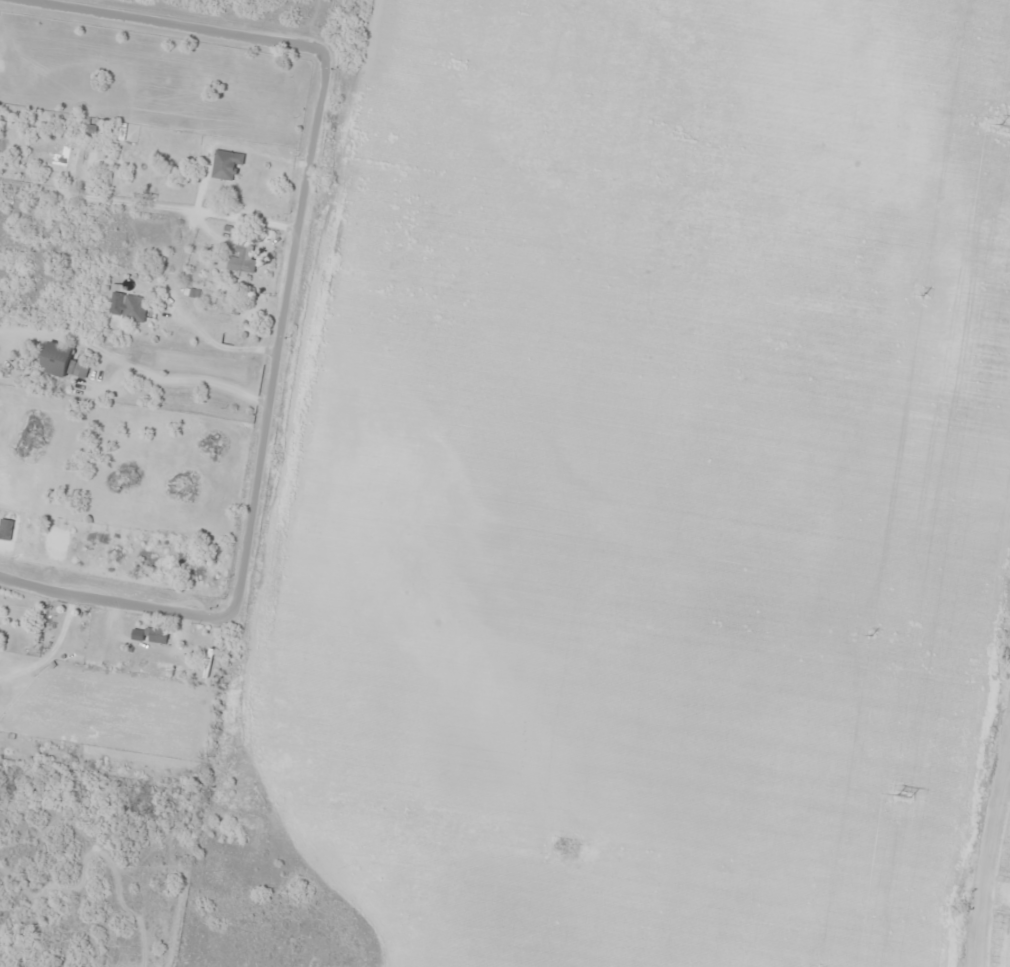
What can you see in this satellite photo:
road: (181, 23)
power tower: (1005, 124)
building: (225, 165)
road: (148, 206)
building: (114, 242)
building: (240, 261)
building: (134, 309)
building: (230, 324)
road: (279, 335)
building: (60, 362)
road: (113, 603)
building: (157, 636)
road: (990, 686)
power tower: (903, 792)
road: (951, 882)

